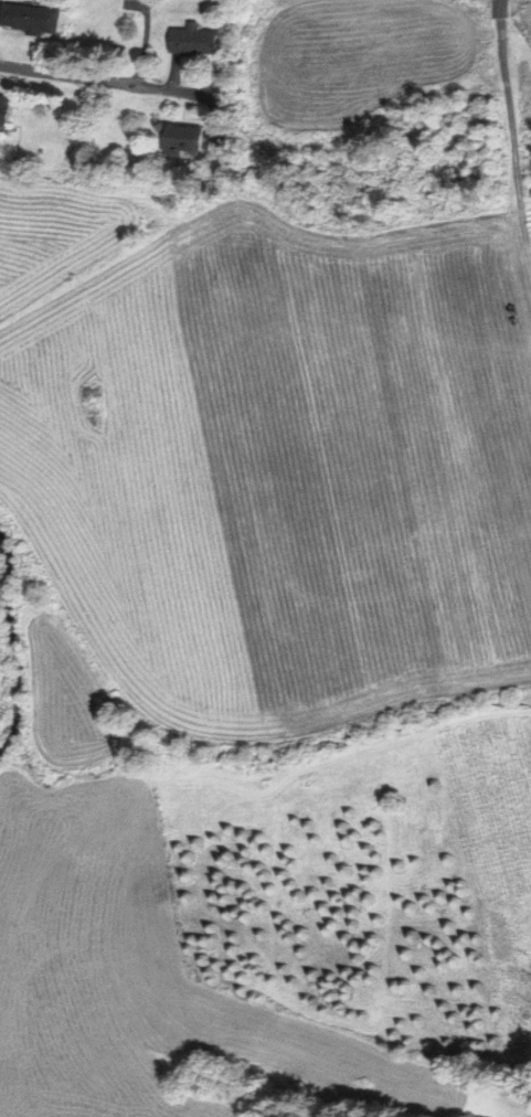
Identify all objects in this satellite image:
road: (501, 8)
building: (32, 18)
building: (194, 40)
road: (105, 81)
building: (7, 108)
road: (510, 109)
building: (187, 139)
road: (523, 234)
river: (13, 646)
river: (1, 743)

